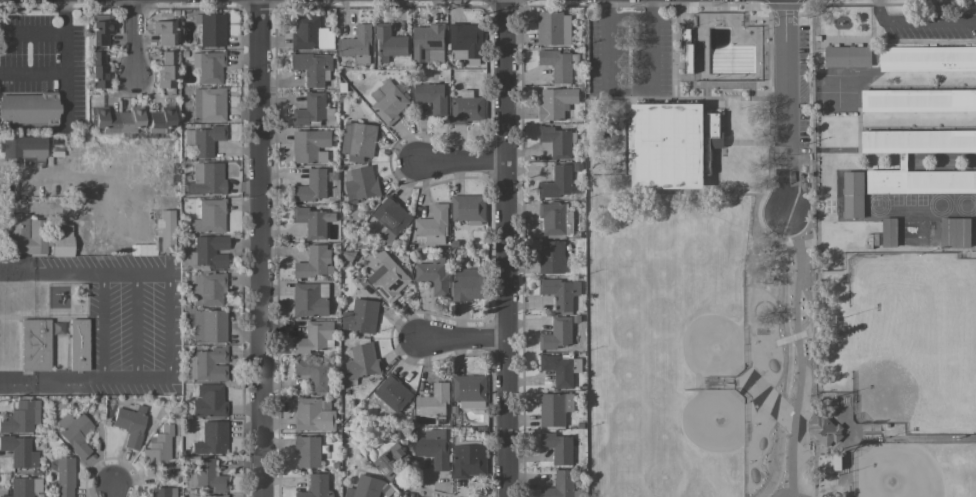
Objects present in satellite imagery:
road: (628, 16)
road: (919, 21)
building: (553, 29)
building: (100, 30)
building: (212, 30)
building: (163, 32)
road: (34, 33)
building: (311, 34)
road: (68, 35)
road: (132, 36)
building: (466, 39)
building: (426, 41)
building: (356, 42)
building: (390, 42)
road: (606, 44)
road: (651, 45)
building: (847, 57)
building: (927, 59)
building: (557, 65)
building: (210, 67)
building: (313, 69)
building: (97, 70)
building: (166, 70)
road: (34, 72)
road: (67, 93)
building: (431, 98)
building: (918, 101)
building: (210, 103)
building: (388, 103)
building: (555, 103)
building: (467, 108)
building: (29, 109)
building: (312, 110)
building: (118, 119)
building: (160, 119)
building: (204, 139)
building: (358, 139)
building: (557, 141)
building: (670, 145)
building: (310, 146)
building: (25, 149)
building: (923, 161)
road: (461, 163)
building: (206, 179)
building: (559, 183)
building: (360, 184)
building: (312, 186)
building: (852, 195)
building: (468, 208)
building: (209, 216)
building: (554, 218)
building: (390, 219)
building: (313, 222)
building: (432, 226)
building: (165, 230)
building: (888, 232)
building: (954, 232)
building: (24, 234)
building: (61, 240)
road: (260, 248)
road: (506, 248)
road: (787, 248)
building: (210, 251)
building: (551, 257)
building: (188, 258)
building: (315, 262)
building: (433, 274)
building: (387, 277)
building: (468, 284)
building: (208, 288)
building: (558, 293)
park: (747, 296)
building: (310, 300)
building: (360, 317)
road: (133, 325)
building: (209, 326)
building: (57, 328)
building: (557, 334)
building: (315, 338)
road: (459, 340)
building: (77, 344)
building: (35, 345)
building: (362, 362)
building: (210, 364)
building: (189, 366)
building: (558, 369)
building: (313, 374)
building: (469, 391)
building: (392, 393)
building: (208, 401)
building: (433, 401)
building: (554, 409)
building: (314, 415)
building: (21, 417)
building: (130, 426)
building: (74, 432)
building: (211, 438)
building: (158, 447)
building: (434, 448)
building: (557, 448)
building: (19, 451)
building: (309, 451)
building: (391, 461)
building: (468, 461)
building: (209, 475)
building: (64, 477)
building: (560, 485)
building: (24, 487)
building: (317, 487)
building: (365, 487)
road: (113, 490)
building: (163, 492)
building: (207, 496)

